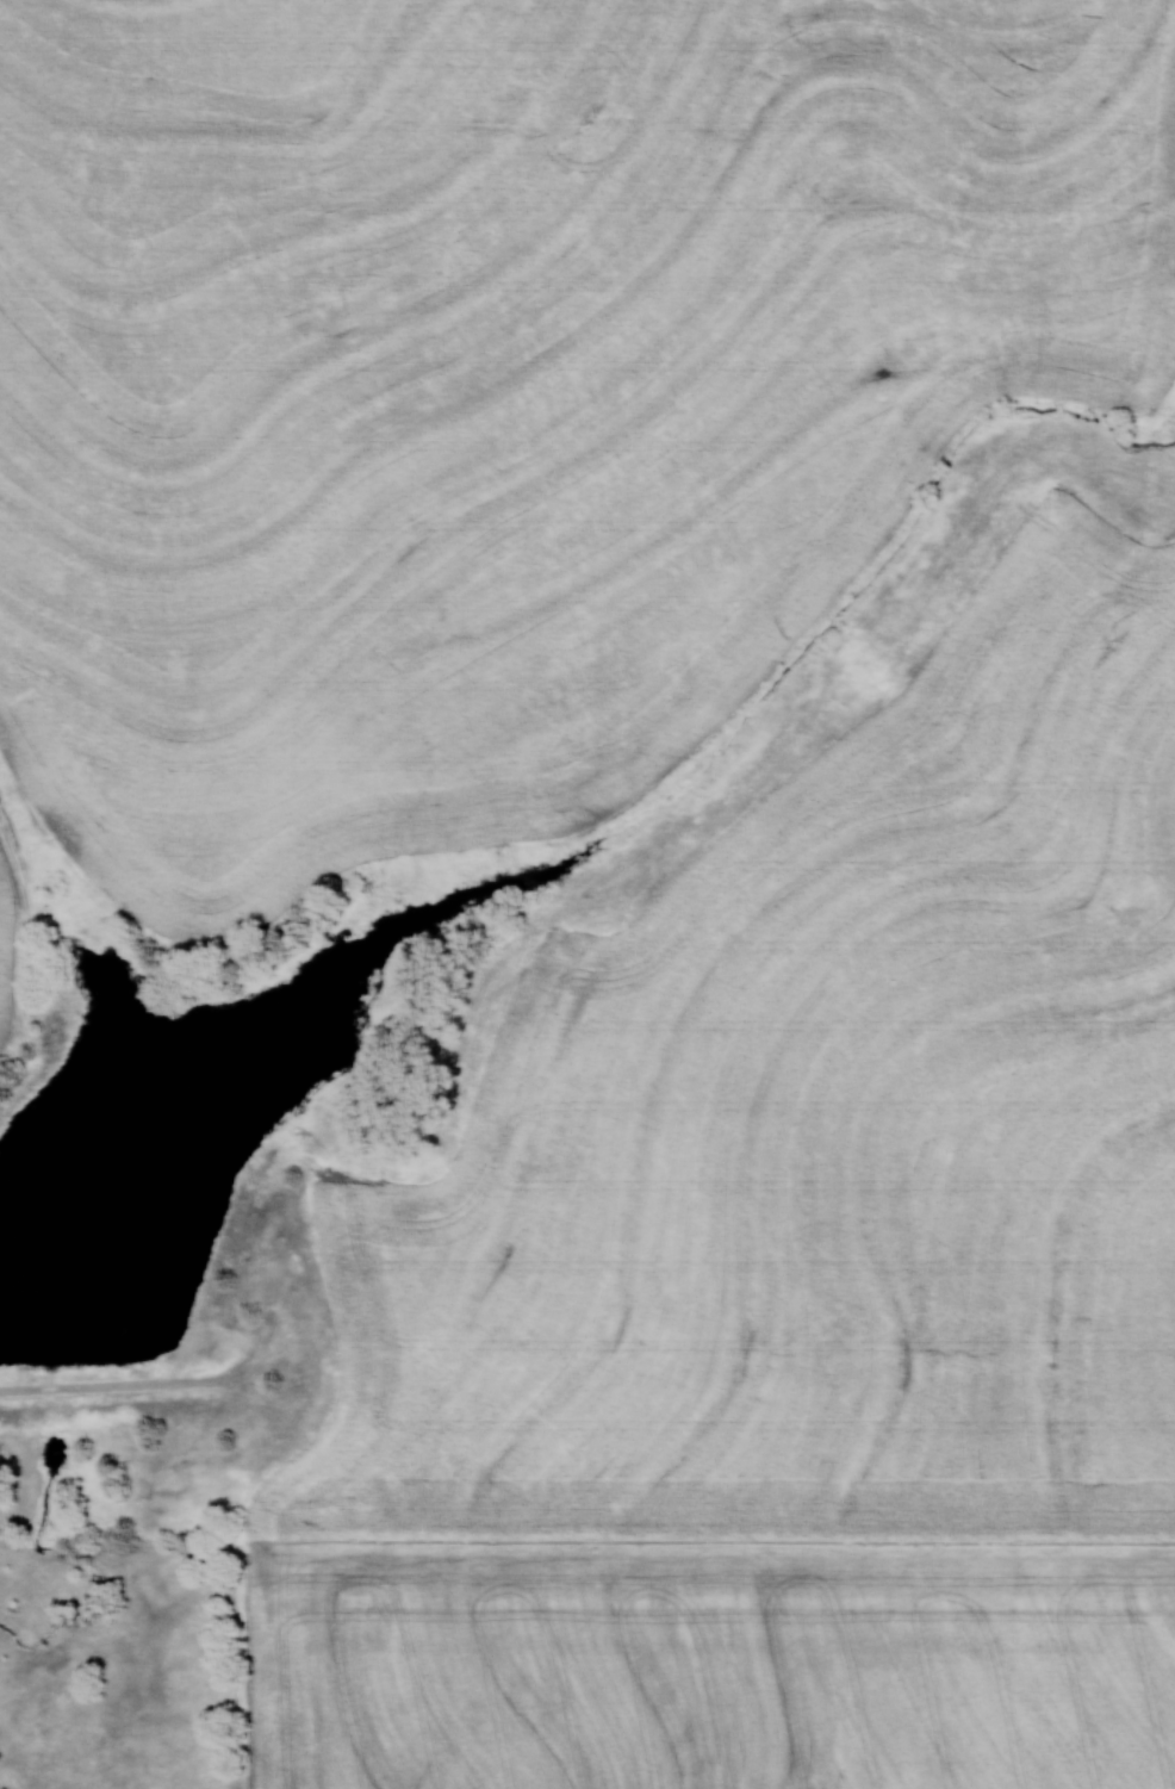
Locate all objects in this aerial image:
power tower: (591, 119)
power tower: (1118, 648)

